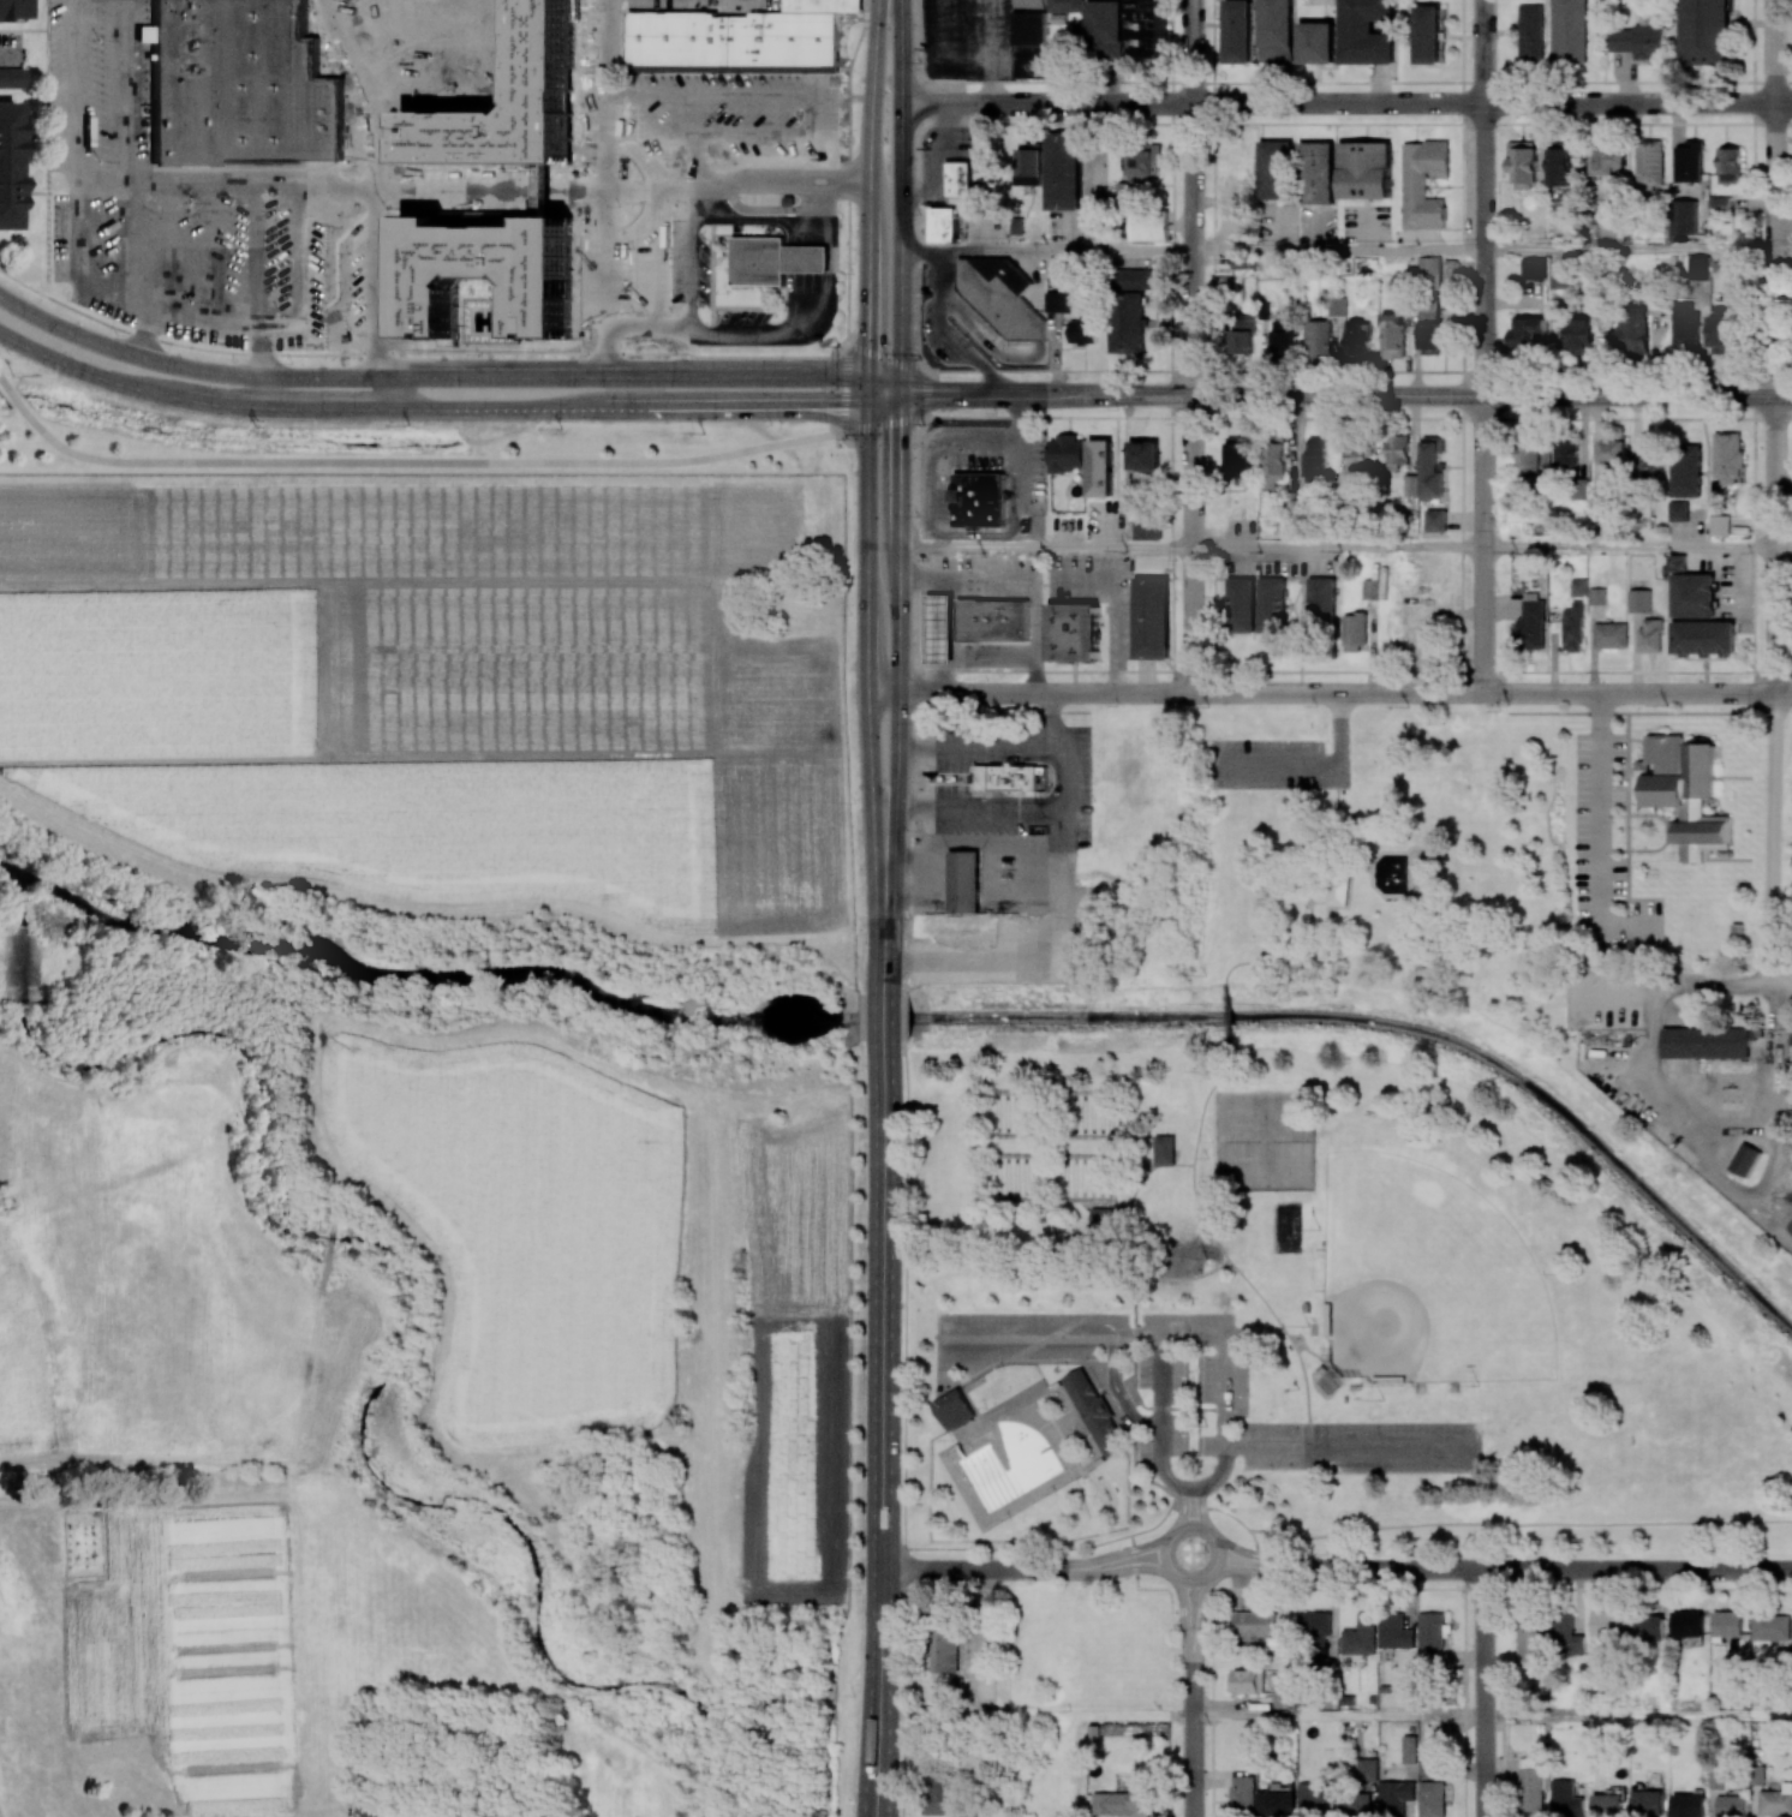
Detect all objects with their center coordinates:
building: (1026, 4)
building: (823, 5)
building: (1062, 5)
building: (11, 11)
building: (1103, 26)
building: (1146, 28)
building: (1237, 31)
building: (1364, 31)
building: (1531, 31)
building: (1569, 31)
building: (1706, 31)
building: (142, 32)
building: (1274, 32)
building: (1428, 36)
building: (731, 41)
building: (1641, 41)
building: (1315, 42)
building: (1027, 44)
road: (10, 55)
road: (1462, 61)
road: (658, 73)
building: (11, 77)
road: (1045, 82)
road: (1458, 82)
building: (240, 85)
road: (1346, 103)
road: (1751, 120)
road: (671, 131)
road: (127, 154)
road: (683, 154)
building: (1142, 157)
building: (7, 160)
building: (1608, 161)
building: (1689, 161)
building: (1025, 163)
building: (1523, 163)
building: (1650, 163)
building: (1559, 166)
building: (1730, 166)
building: (1062, 168)
building: (1274, 168)
building: (1315, 168)
building: (1363, 168)
road: (365, 173)
building: (955, 178)
road: (665, 179)
building: (1423, 181)
road: (870, 189)
building: (1121, 191)
road: (902, 196)
road: (1193, 197)
road: (1483, 197)
road: (1776, 198)
road: (76, 199)
building: (1719, 203)
building: (1684, 217)
building: (940, 223)
building: (1149, 227)
road: (1170, 231)
road: (734, 232)
road: (1047, 249)
road: (1337, 250)
road: (1630, 251)
road: (1784, 251)
building: (772, 258)
building: (1243, 261)
building: (1700, 268)
building: (1429, 269)
building: (1533, 269)
building: (489, 274)
road: (710, 274)
building: (1133, 279)
building: (1559, 279)
building: (998, 295)
road: (1154, 299)
building: (1057, 301)
building: (1337, 306)
road: (746, 307)
building: (1127, 321)
road: (804, 327)
building: (1685, 327)
building: (1725, 328)
building: (1082, 329)
building: (1633, 330)
building: (1429, 331)
building: (1528, 331)
road: (937, 334)
building: (1241, 334)
building: (1393, 334)
building: (1278, 335)
building: (1579, 335)
building: (1316, 336)
building: (1355, 339)
road: (985, 341)
road: (1080, 349)
road: (587, 353)
road: (1056, 354)
road: (1626, 371)
road: (444, 377)
traffic signals: (870, 378)
traffic signals: (901, 394)
road: (1345, 395)
traffic signals: (870, 407)
road: (444, 408)
power tower: (256, 426)
building: (1396, 448)
building: (1063, 452)
building: (1142, 452)
building: (1566, 453)
building: (1235, 456)
building: (1356, 456)
building: (1612, 456)
building: (1727, 456)
building: (1273, 458)
building: (1310, 458)
building: (1528, 459)
building: (1649, 459)
road: (1115, 460)
road: (404, 462)
building: (1099, 466)
building: (1432, 467)
building: (1686, 471)
building: (1409, 485)
road: (928, 486)
road: (1019, 494)
building: (975, 498)
building: (1679, 510)
building: (1433, 519)
road: (1169, 524)
building: (1720, 525)
road: (1164, 526)
building: (1145, 530)
building: (1226, 531)
road: (1193, 543)
road: (1483, 544)
road: (1046, 548)
road: (1338, 548)
road: (1630, 548)
road: (1784, 549)
building: (1678, 563)
building: (1579, 587)
building: (1370, 590)
road: (1031, 591)
road: (868, 594)
building: (1694, 594)
building: (1597, 596)
building: (1639, 600)
road: (900, 602)
building: (1241, 605)
building: (1272, 606)
building: (1322, 606)
road: (1116, 609)
building: (1149, 617)
building: (991, 620)
building: (1533, 622)
building: (1573, 627)
building: (1071, 629)
building: (938, 630)
building: (1355, 630)
building: (1611, 635)
building: (1650, 635)
building: (1704, 636)
road: (1020, 671)
crop: (429, 685)
road: (1776, 691)
road: (1322, 693)
road: (1784, 693)
road: (1340, 728)
road: (966, 747)
parking lot: (1266, 763)
road: (1276, 763)
building: (1006, 776)
building: (1684, 791)
road: (1041, 807)
road: (1602, 829)
road: (1784, 841)
road: (908, 861)
road: (1334, 867)
road: (1356, 869)
road: (916, 871)
road: (964, 872)
road: (1021, 874)
building: (964, 880)
building: (1338, 891)
road: (1309, 895)
road: (885, 899)
road: (1320, 909)
building: (955, 927)
road: (1045, 954)
road: (1725, 986)
road: (884, 1017)
river: (937, 1017)
road: (1230, 1017)
road: (902, 1022)
building: (1707, 1042)
park: (1057, 1112)
park: (1265, 1140)
building: (1164, 1149)
building: (1745, 1160)
park: (1056, 1175)
crop: (453, 1189)
park: (1322, 1218)
road: (1125, 1225)
park: (1289, 1227)
road: (1224, 1254)
road: (1021, 1267)
road: (1133, 1274)
park: (1426, 1277)
crop: (794, 1328)
road: (1139, 1334)
road: (1327, 1364)
road: (1161, 1377)
road: (882, 1381)
road: (1118, 1391)
parking lot: (1207, 1391)
building: (955, 1407)
building: (1097, 1411)
road: (1350, 1446)
road: (1160, 1463)
water park: (1025, 1465)
road: (1218, 1475)
road: (1191, 1504)
road: (1493, 1524)
road: (957, 1548)
road: (1022, 1568)
road: (1506, 1568)
road: (1191, 1580)
building: (1608, 1624)
building: (1689, 1624)
building: (1728, 1624)
building: (1255, 1625)
building: (1648, 1627)
building: (1770, 1627)
building: (1315, 1628)
building: (1394, 1631)
building: (1361, 1634)
building: (1565, 1634)
building: (1432, 1636)
building: (1530, 1642)
building: (945, 1649)
building: (1249, 1681)
road: (1486, 1693)
road: (1190, 1698)
building: (1284, 1698)
crop: (783, 1713)
road: (1338, 1715)
road: (1638, 1715)
building: (1409, 1749)
building: (1530, 1762)
road: (871, 1767)
road: (884, 1767)
building: (1368, 1769)
building: (1531, 1789)
building: (1241, 1794)
building: (1394, 1797)
building: (1432, 1799)
building: (1566, 1799)
building: (1776, 1800)
building: (1127, 1803)
building: (1648, 1803)
building: (1276, 1804)
building: (1355, 1804)
building: (1608, 1805)
building: (1689, 1805)
building: (1732, 1805)
road: (0, 1813)

